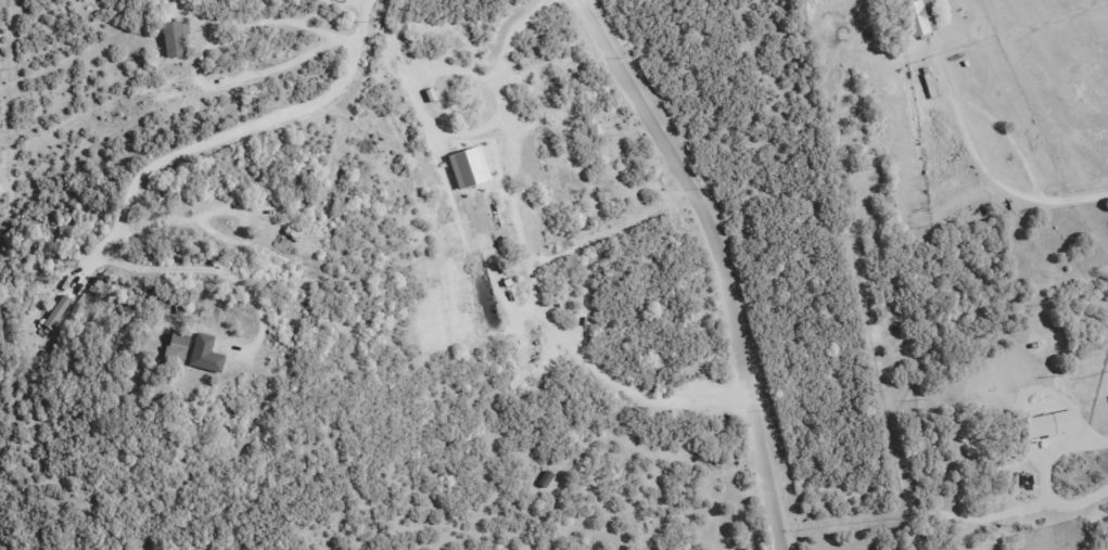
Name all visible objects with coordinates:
building: (917, 18)
building: (173, 39)
road: (730, 259)
road: (526, 273)
building: (55, 312)
building: (175, 348)
building: (203, 353)

